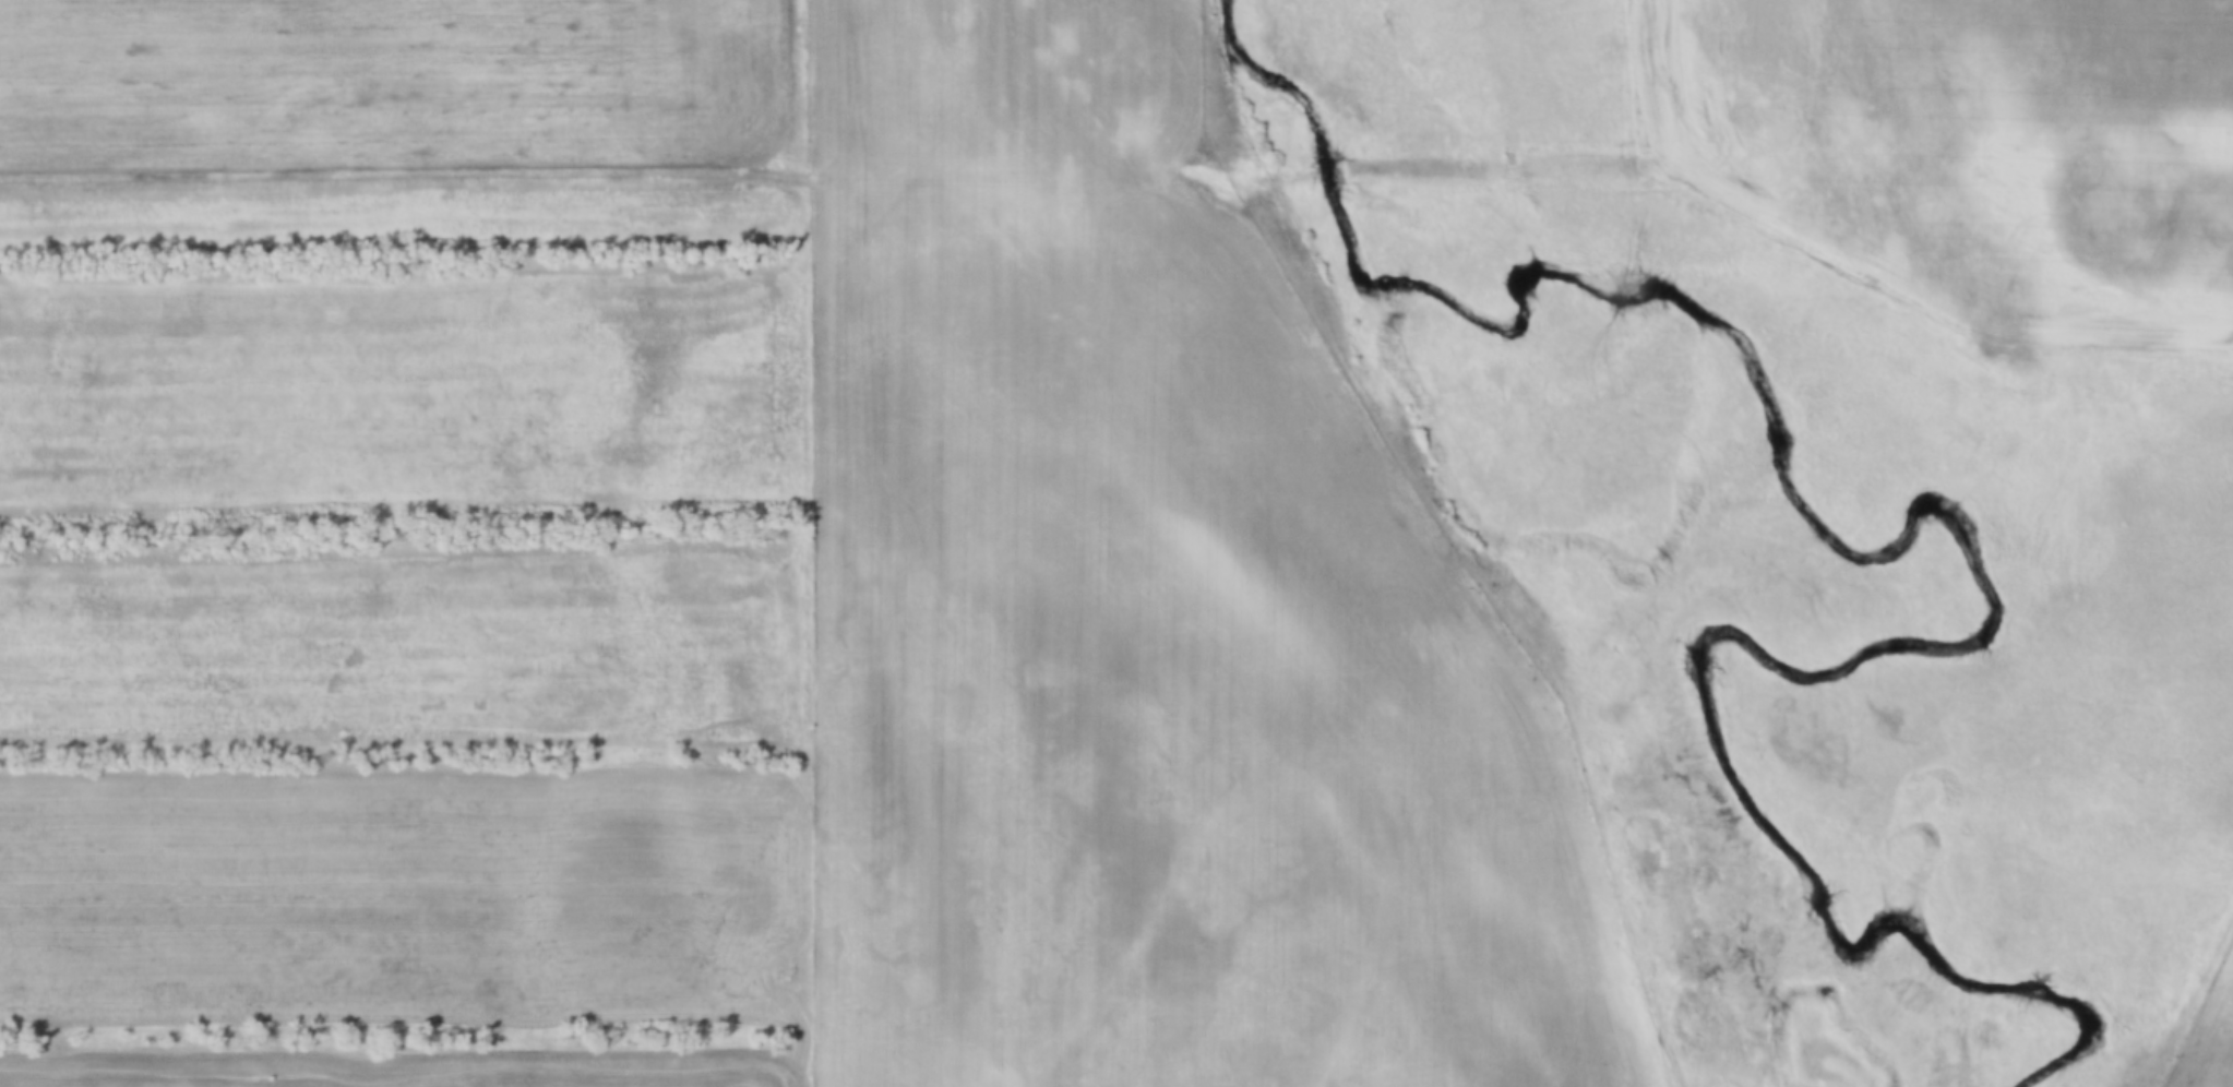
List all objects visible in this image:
road: (1124, 190)

